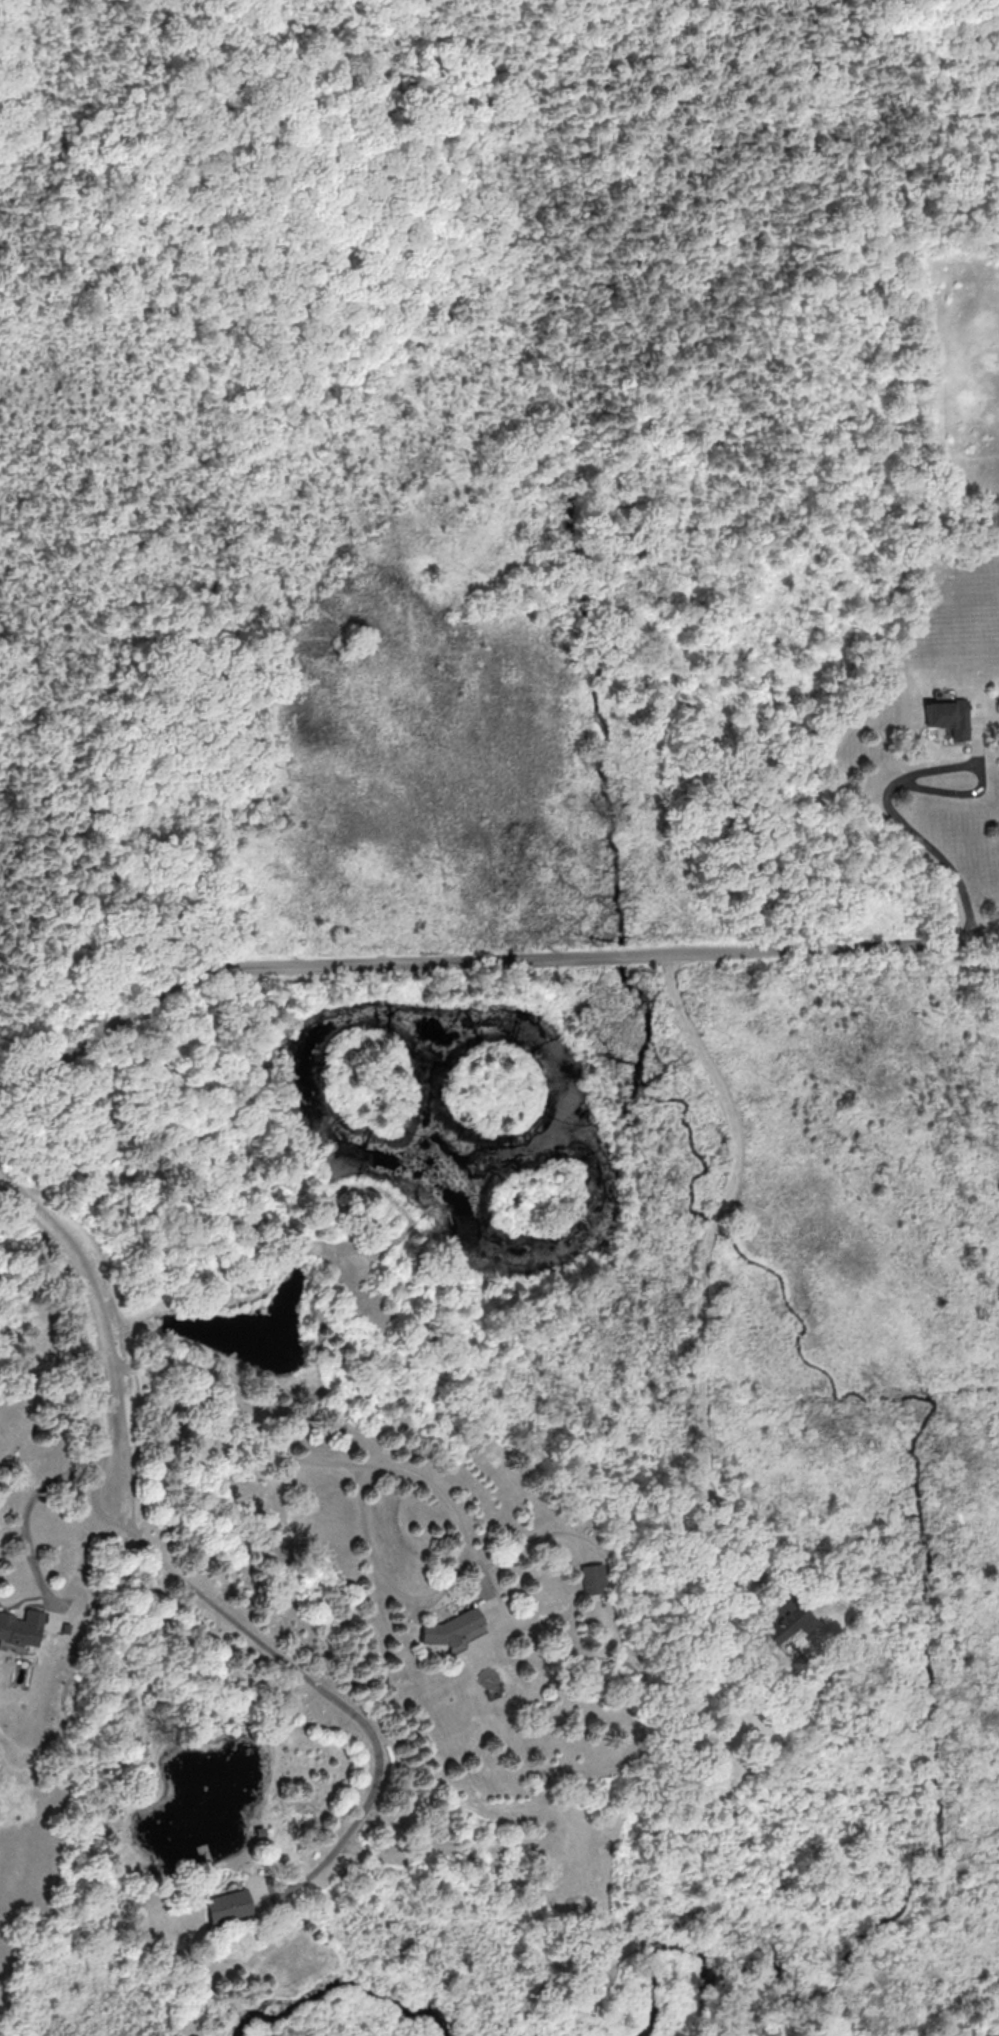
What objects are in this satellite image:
building: (946, 715)
road: (954, 792)
road: (895, 814)
road: (484, 964)
road: (31, 1294)
road: (98, 1319)
road: (703, 1351)
road: (33, 1501)
road: (364, 1522)
building: (594, 1579)
building: (785, 1624)
building: (449, 1627)
building: (21, 1628)
building: (490, 1680)
road: (311, 1681)
building: (225, 1903)

